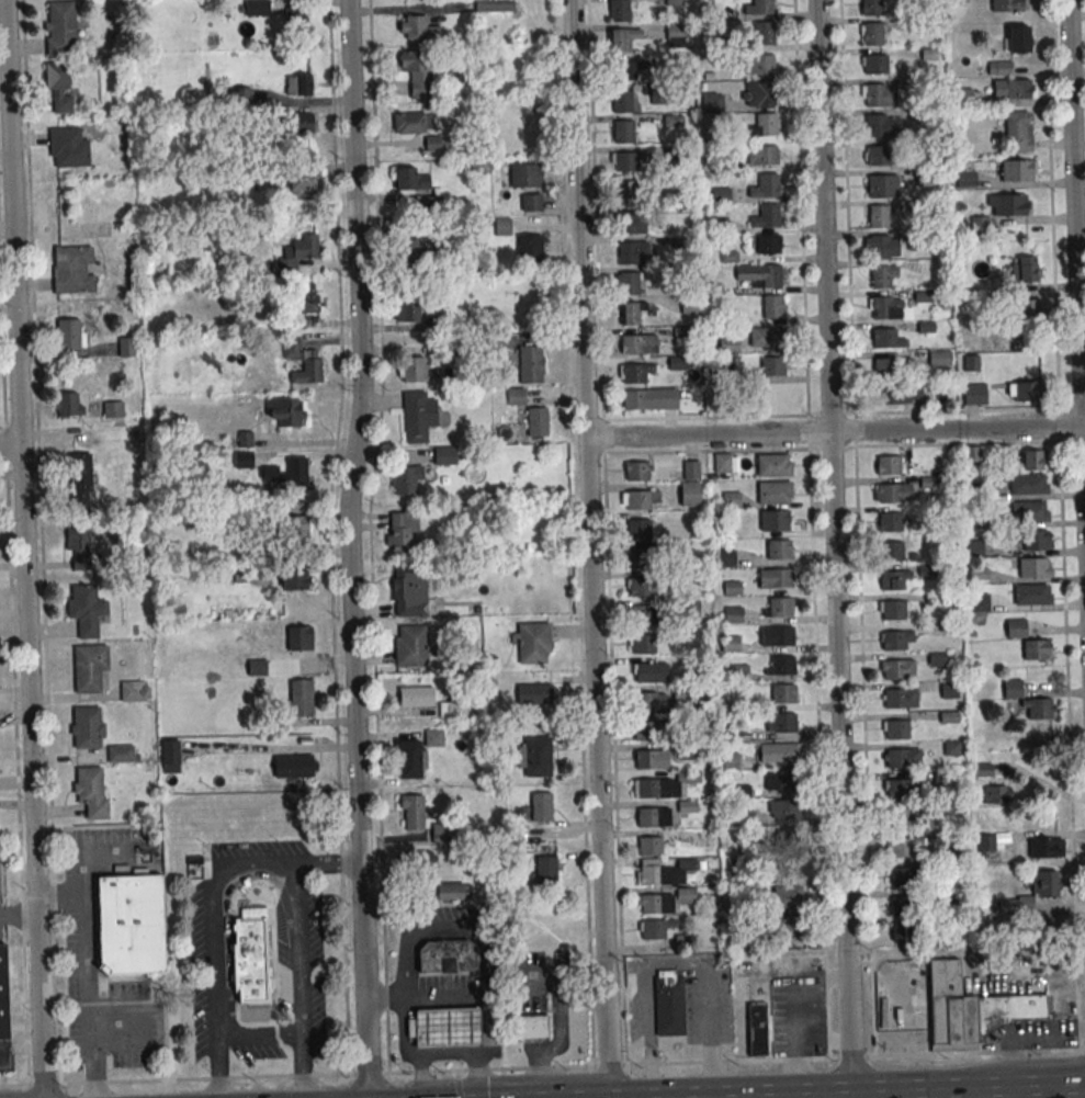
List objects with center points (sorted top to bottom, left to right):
building: (494, 5)
building: (1009, 5)
building: (761, 7)
building: (257, 8)
building: (871, 8)
building: (619, 11)
building: (296, 18)
building: (61, 27)
building: (418, 27)
building: (762, 33)
building: (675, 35)
building: (871, 35)
building: (1018, 38)
building: (619, 41)
building: (761, 64)
building: (874, 65)
building: (999, 67)
building: (625, 70)
building: (417, 72)
building: (301, 83)
building: (59, 87)
building: (1013, 89)
building: (757, 93)
building: (879, 95)
building: (622, 101)
building: (713, 102)
building: (301, 122)
building: (414, 123)
building: (765, 124)
building: (875, 126)
building: (1018, 132)
building: (623, 133)
building: (69, 147)
building: (762, 155)
building: (877, 156)
building: (629, 161)
building: (1017, 170)
building: (525, 176)
building: (965, 178)
building: (411, 179)
building: (305, 184)
building: (767, 185)
building: (878, 186)
building: (625, 193)
building: (721, 194)
building: (531, 202)
building: (1007, 204)
road: (1076, 211)
building: (769, 215)
building: (878, 216)
building: (631, 222)
building: (765, 244)
building: (879, 247)
building: (422, 248)
building: (530, 249)
building: (297, 252)
building: (628, 253)
building: (74, 269)
building: (1024, 269)
building: (770, 275)
building: (880, 278)
building: (629, 283)
building: (304, 302)
building: (771, 306)
building: (881, 307)
building: (1027, 309)
building: (408, 310)
building: (629, 314)
building: (70, 333)
building: (681, 336)
building: (765, 337)
building: (883, 338)
building: (641, 343)
building: (728, 343)
building: (126, 347)
building: (939, 358)
building: (303, 361)
building: (531, 363)
building: (771, 366)
building: (884, 367)
building: (414, 369)
building: (636, 372)
building: (1024, 390)
building: (898, 393)
building: (974, 394)
building: (649, 398)
building: (68, 404)
building: (113, 409)
building: (284, 411)
building: (418, 416)
building: (538, 421)
road: (835, 429)
road: (10, 443)
road: (830, 446)
building: (972, 453)
building: (445, 455)
building: (244, 460)
building: (1028, 460)
building: (723, 463)
building: (772, 465)
building: (886, 465)
building: (297, 469)
building: (691, 469)
building: (636, 471)
building: (406, 479)
building: (80, 480)
building: (1028, 484)
building: (772, 493)
building: (894, 493)
building: (690, 494)
building: (637, 499)
building: (732, 499)
building: (1029, 511)
building: (775, 521)
building: (889, 522)
building: (640, 528)
road: (857, 528)
road: (810, 529)
building: (403, 532)
building: (293, 533)
building: (1037, 540)
road: (24, 548)
building: (78, 548)
road: (350, 548)
road: (589, 548)
building: (777, 550)
building: (890, 552)
building: (638, 557)
building: (1033, 567)
building: (295, 578)
building: (773, 578)
building: (891, 580)
building: (642, 587)
building: (410, 590)
building: (1032, 593)
building: (779, 607)
building: (86, 609)
building: (892, 610)
building: (640, 614)
building: (733, 614)
building: (1016, 627)
building: (780, 636)
building: (299, 638)
building: (895, 639)
building: (533, 643)
building: (731, 643)
building: (642, 644)
building: (411, 646)
building: (1037, 649)
building: (782, 665)
building: (257, 667)
building: (88, 668)
building: (897, 669)
building: (649, 672)
building: (739, 672)
building: (135, 691)
building: (534, 693)
building: (681, 694)
building: (782, 694)
building: (417, 697)
building: (301, 698)
building: (900, 699)
building: (649, 701)
building: (1029, 701)
building: (452, 709)
building: (782, 723)
building: (87, 726)
building: (648, 729)
building: (895, 729)
building: (121, 752)
building: (777, 752)
building: (170, 756)
building: (535, 756)
building: (896, 758)
building: (652, 759)
building: (295, 766)
building: (781, 781)
building: (660, 786)
building: (897, 790)
building: (91, 791)
building: (996, 794)
building: (541, 806)
building: (787, 810)
building: (411, 812)
building: (654, 816)
building: (898, 817)
building: (441, 833)
building: (787, 838)
building: (985, 842)
building: (648, 846)
building: (900, 847)
building: (1044, 848)
road: (329, 862)
building: (422, 868)
building: (545, 868)
building: (663, 870)
building: (901, 878)
building: (1044, 884)
building: (450, 891)
building: (788, 895)
building: (664, 901)
building: (902, 906)
road: (19, 915)
building: (129, 925)
building: (655, 928)
building: (790, 928)
building: (903, 932)
road: (211, 942)
road: (965, 952)
building: (249, 956)
building: (447, 956)
road: (87, 978)
road: (299, 981)
road: (849, 992)
road: (477, 997)
building: (667, 1004)
building: (971, 1009)
building: (3, 1015)
building: (532, 1028)
building: (445, 1029)
building: (757, 1029)
road: (258, 1032)
road: (402, 1053)
road: (447, 1059)
road: (769, 1060)
road: (227, 1077)
road: (456, 1084)
road: (969, 1087)
road: (748, 1095)
road: (844, 1095)

